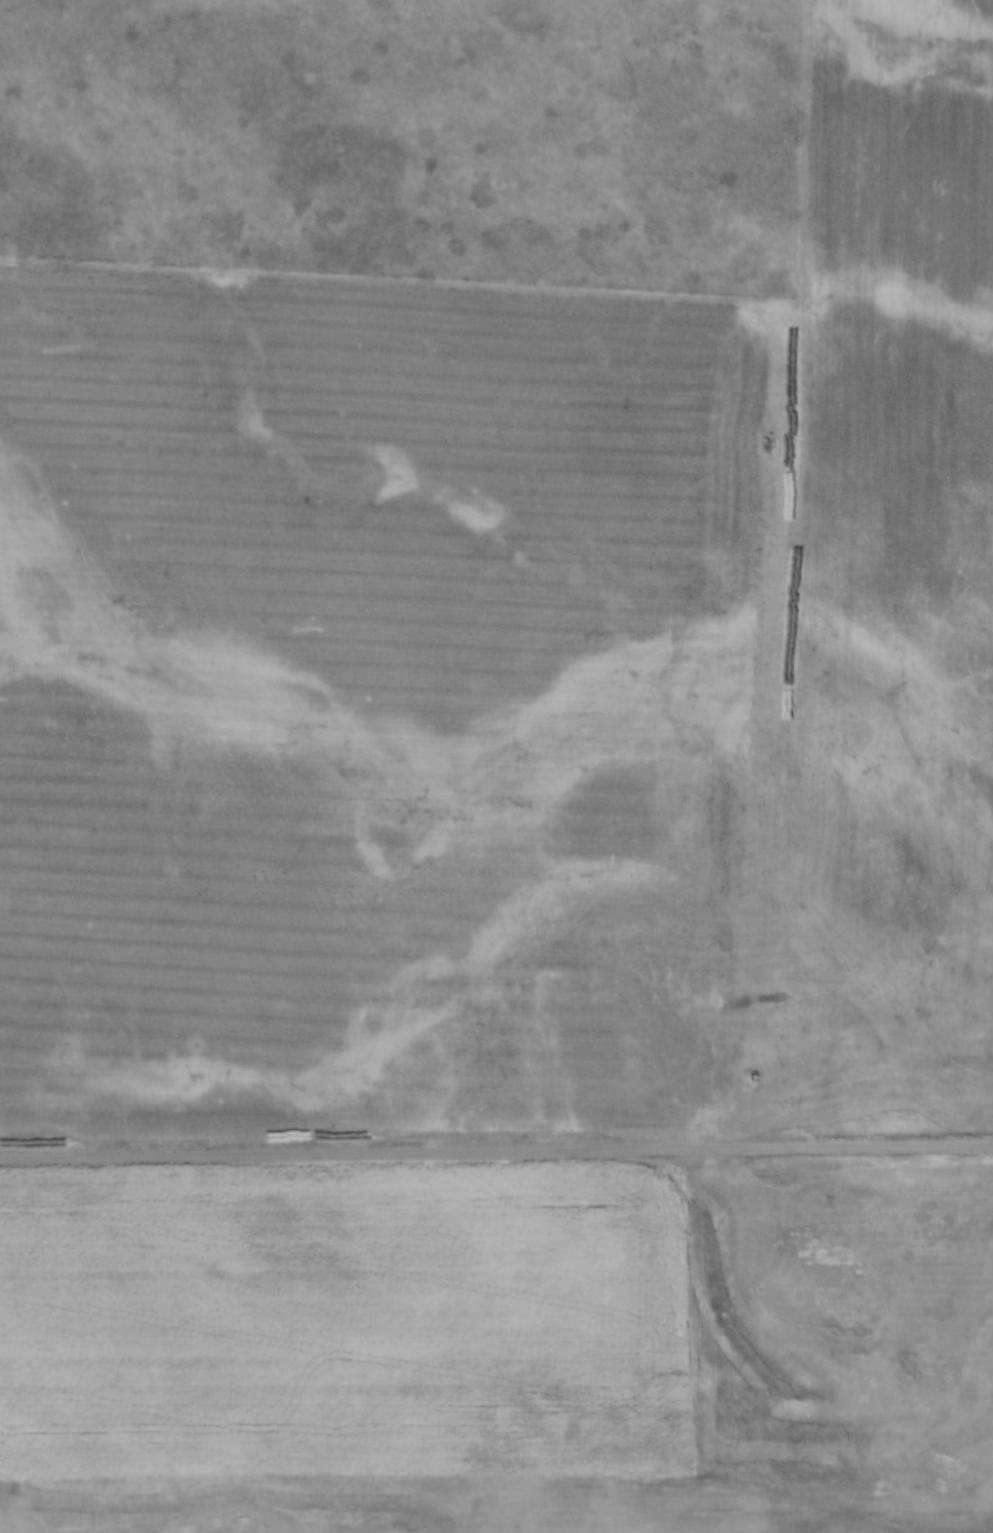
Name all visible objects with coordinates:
road: (496, 1150)

